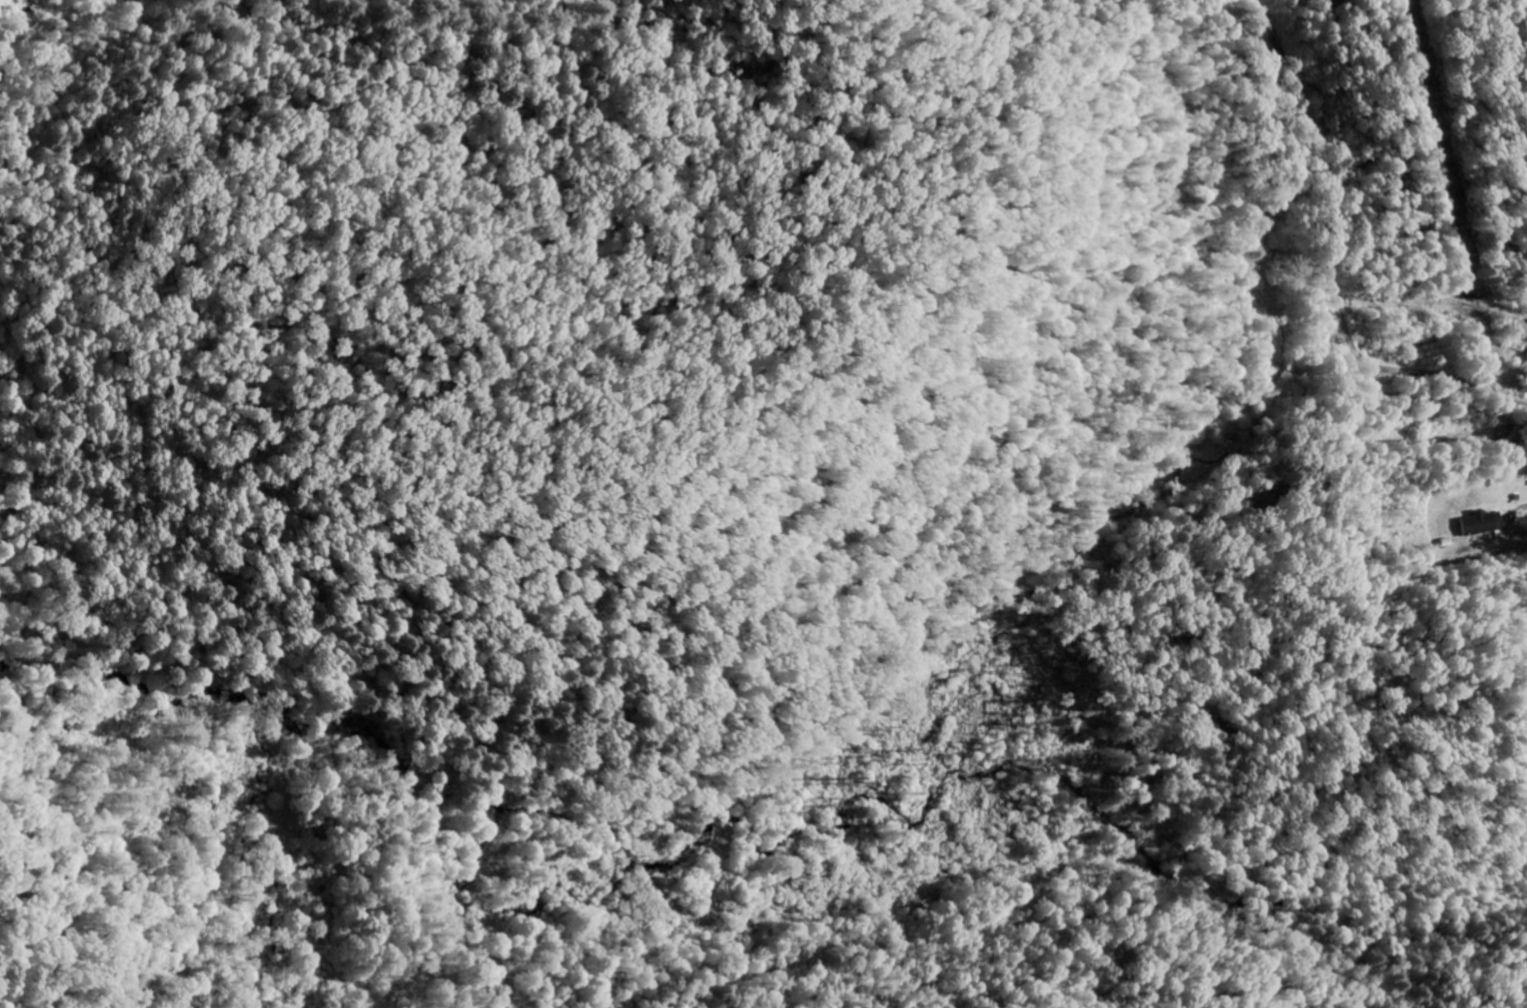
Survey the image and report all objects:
building: (1343, 0)
road: (1324, 263)
building: (1481, 522)

